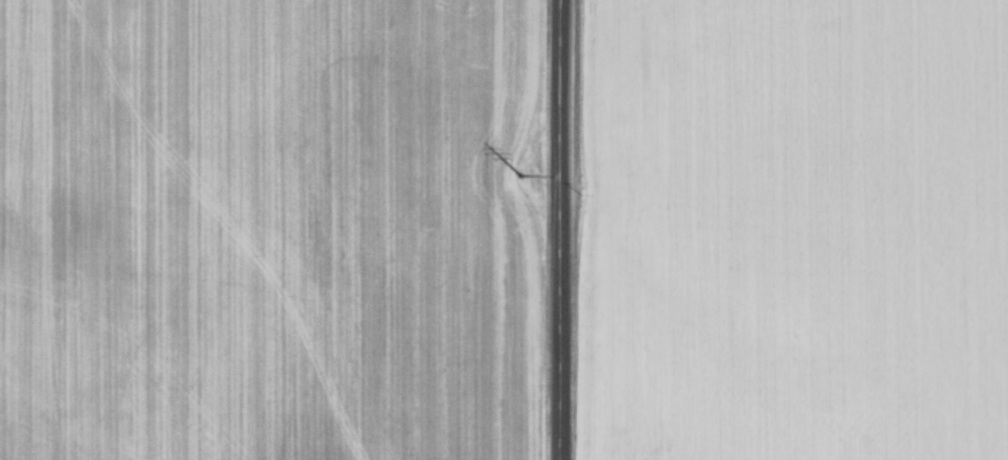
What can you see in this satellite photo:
power tower: (515, 173)
road: (553, 229)

